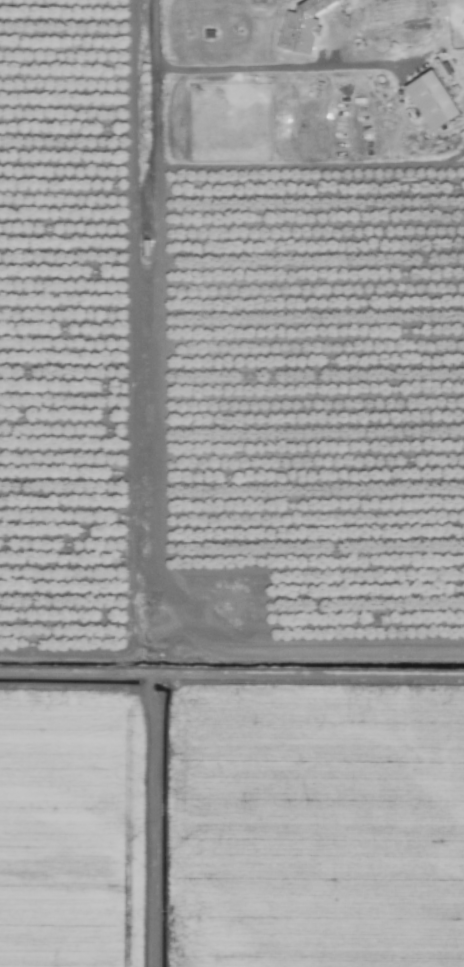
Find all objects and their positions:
building: (443, 6)
road: (279, 67)
building: (431, 99)
road: (150, 293)

